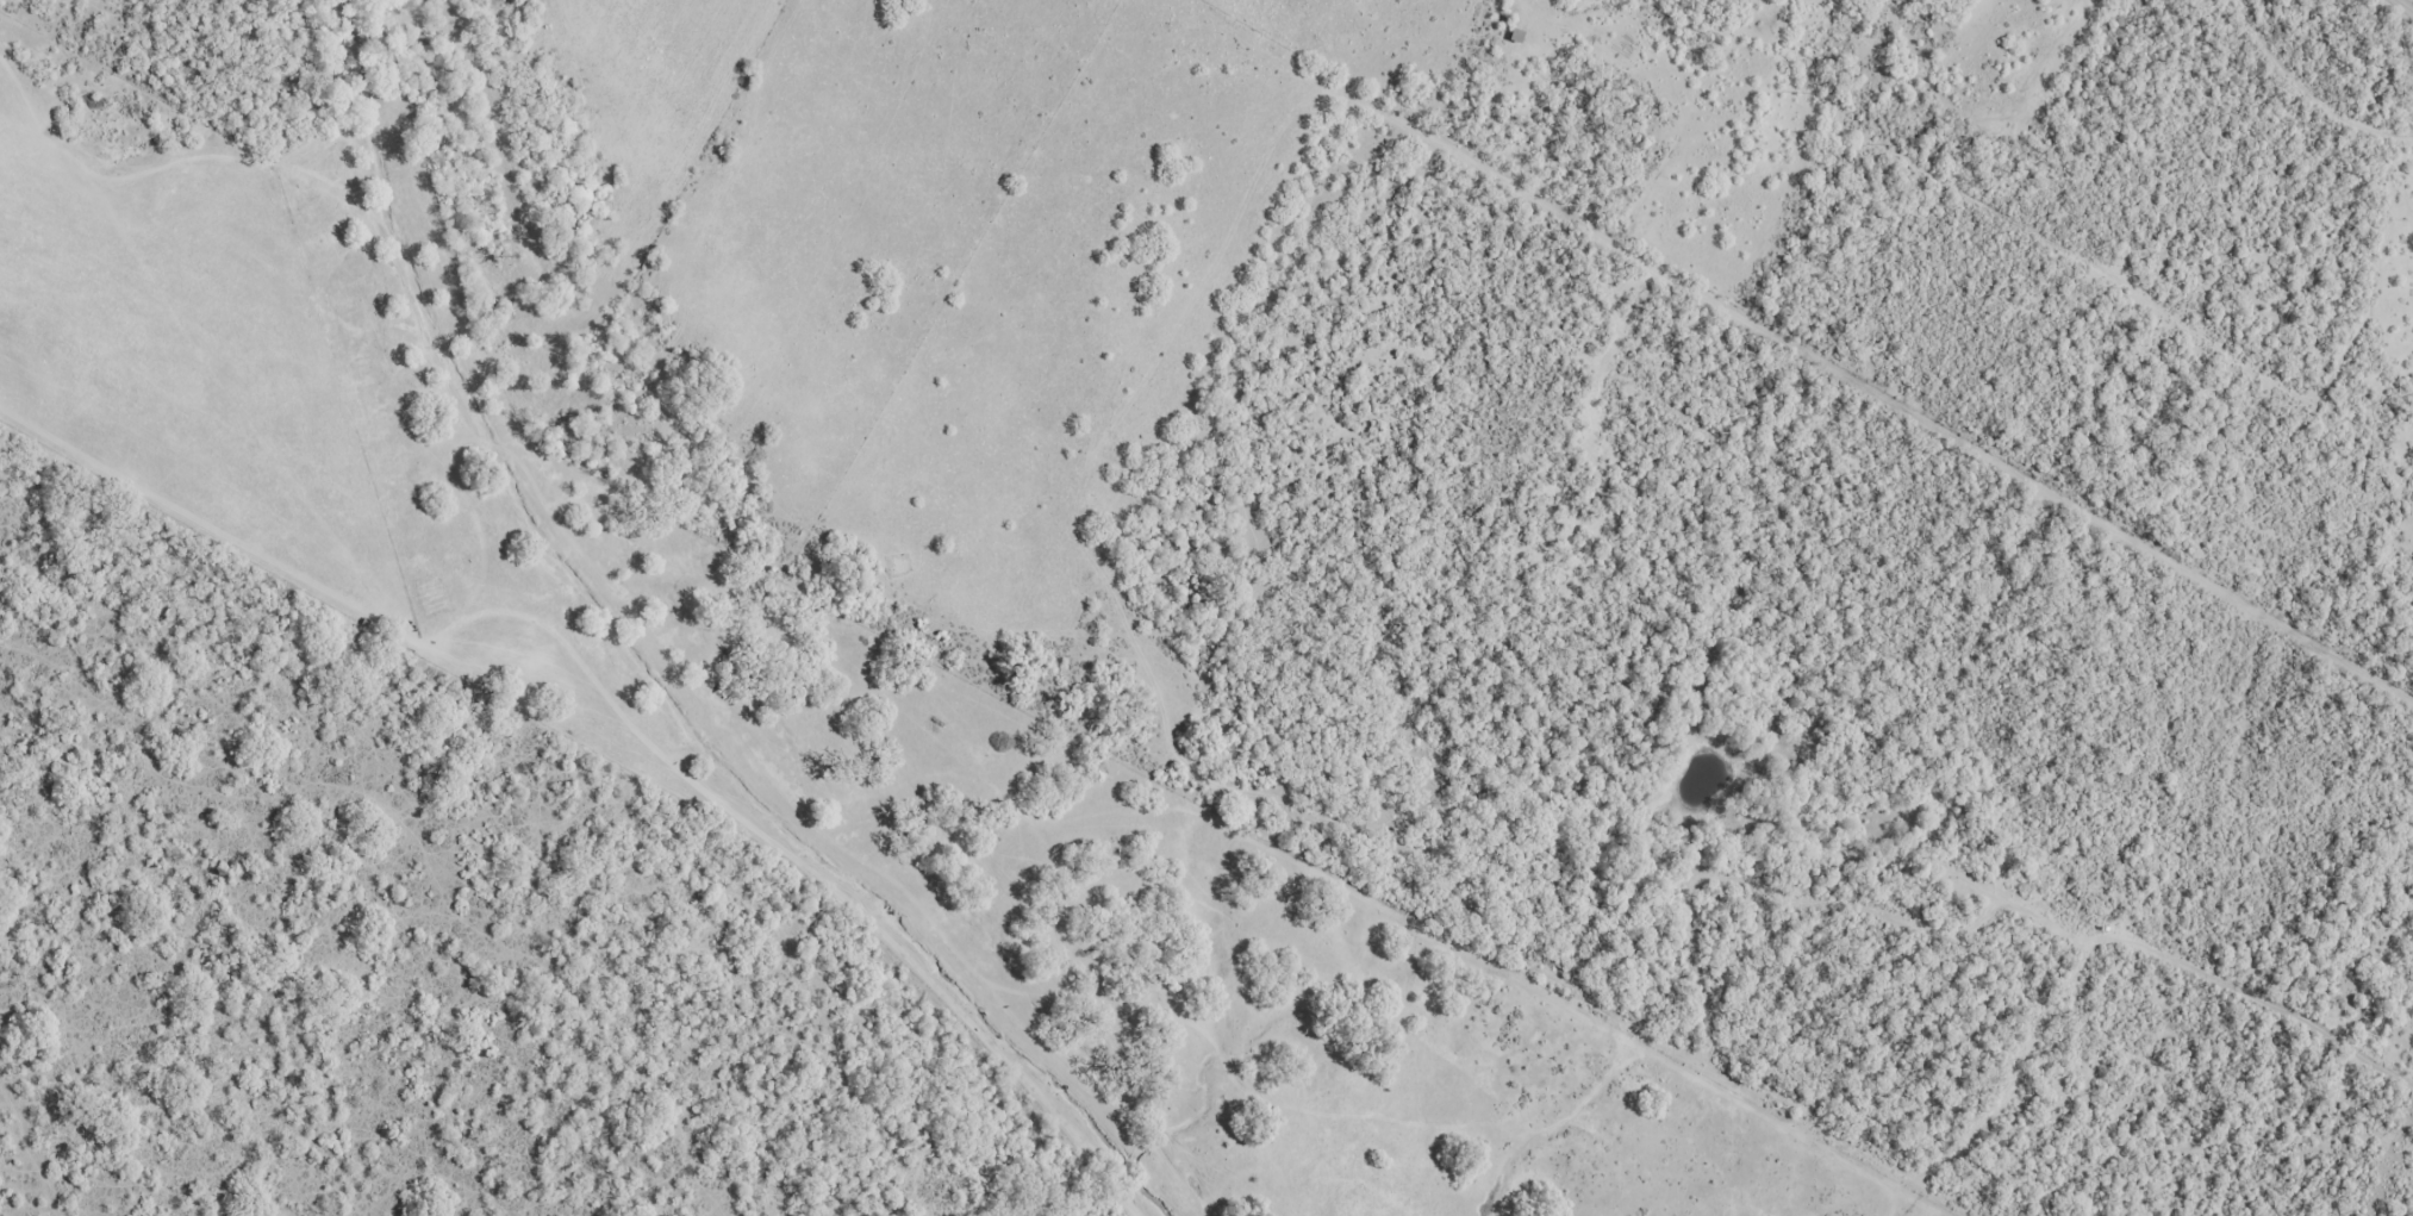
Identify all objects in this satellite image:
road: (2402, 5)
river: (638, 673)
road: (2346, 1210)

